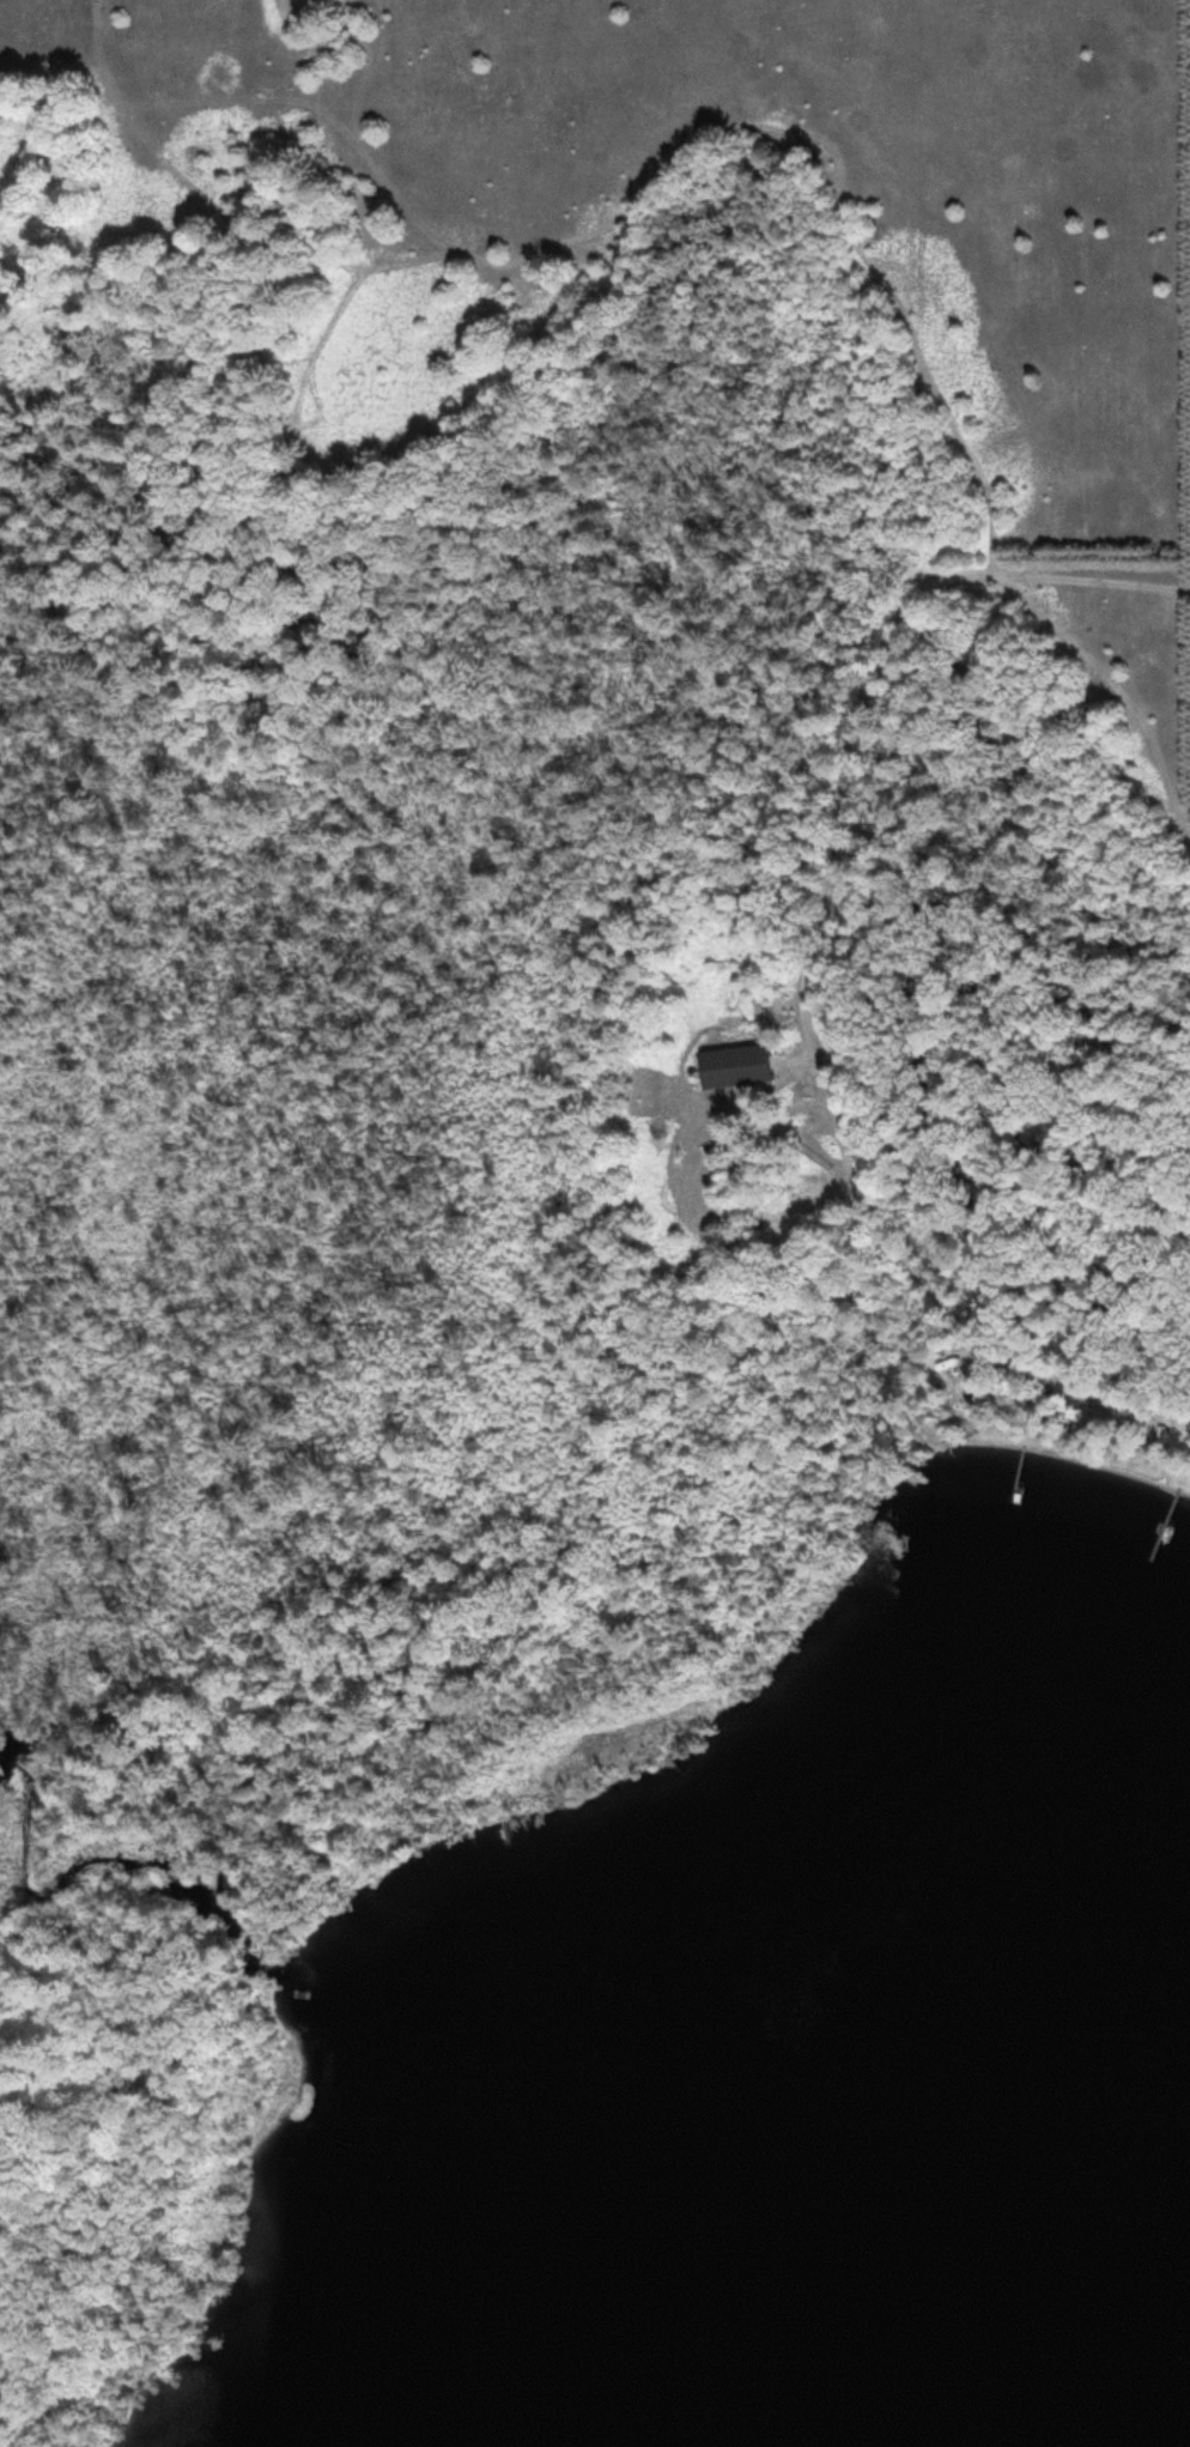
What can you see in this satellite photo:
building: (735, 1065)
building: (1113, 1415)

